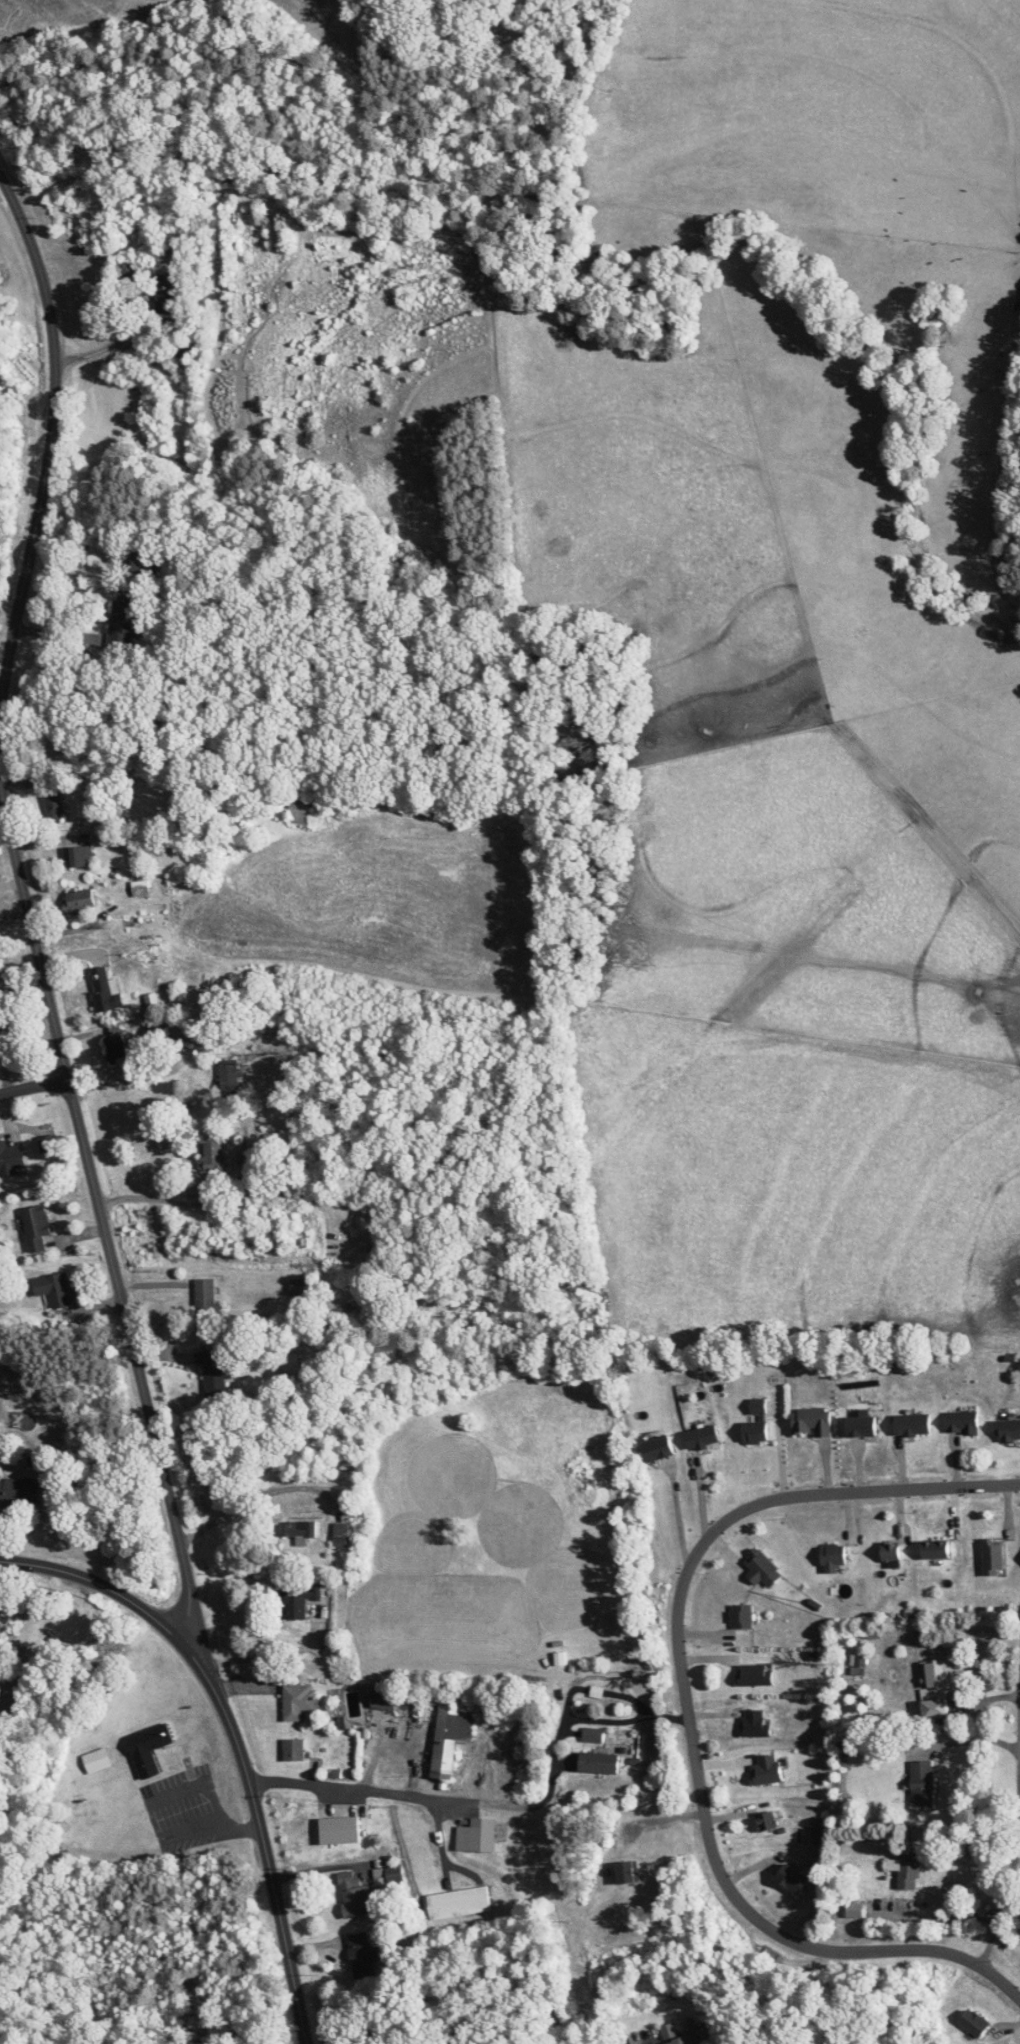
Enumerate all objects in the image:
building: (164, 292)
building: (187, 347)
road: (50, 437)
building: (146, 562)
building: (121, 625)
road: (65, 634)
building: (299, 809)
building: (80, 857)
building: (140, 888)
building: (79, 901)
building: (147, 965)
building: (106, 990)
building: (176, 1029)
building: (1, 1033)
building: (116, 1048)
building: (229, 1077)
road: (123, 1080)
road: (34, 1085)
building: (11, 1157)
building: (213, 1157)
road: (339, 1200)
road: (227, 1202)
road: (101, 1212)
building: (36, 1226)
building: (298, 1287)
building: (54, 1290)
building: (205, 1297)
building: (352, 1306)
building: (291, 1364)
building: (812, 1421)
building: (962, 1422)
building: (756, 1423)
building: (912, 1424)
building: (862, 1425)
building: (1008, 1429)
building: (702, 1437)
building: (658, 1448)
building: (19, 1489)
road: (251, 1499)
building: (299, 1530)
building: (935, 1549)
building: (890, 1551)
building: (832, 1554)
building: (993, 1557)
building: (761, 1567)
road: (112, 1589)
building: (299, 1602)
building: (741, 1615)
road: (278, 1652)
building: (754, 1675)
road: (684, 1688)
building: (938, 1688)
building: (384, 1699)
building: (297, 1701)
road: (583, 1719)
building: (592, 1734)
building: (451, 1736)
road: (971, 1738)
building: (149, 1748)
building: (294, 1749)
building: (599, 1762)
building: (767, 1770)
building: (922, 1783)
road: (394, 1792)
road: (209, 1793)
building: (766, 1820)
road: (1019, 1822)
road: (174, 1835)
building: (477, 1835)
road: (1018, 1847)
road: (266, 1848)
building: (906, 1870)
building: (792, 1879)
building: (353, 1895)
building: (459, 1903)
building: (855, 1911)
road: (943, 1918)
building: (361, 1955)
road: (1001, 1981)
building: (974, 2022)
building: (678, 2035)

